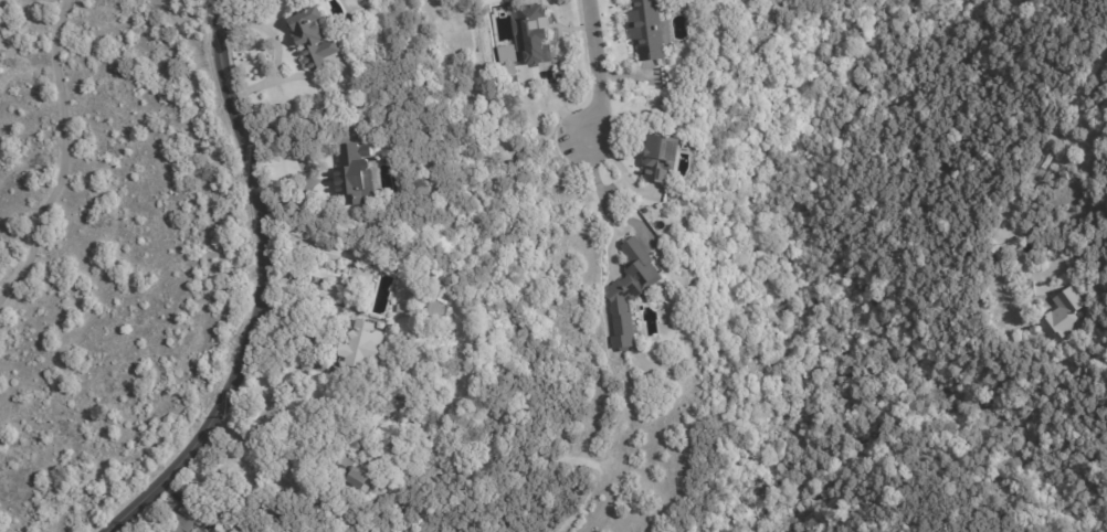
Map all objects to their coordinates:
building: (679, 7)
building: (644, 29)
building: (536, 35)
building: (310, 36)
road: (274, 51)
road: (593, 71)
building: (660, 155)
building: (356, 174)
road: (599, 193)
building: (1050, 252)
road: (256, 288)
building: (630, 289)
building: (425, 294)
building: (404, 309)
building: (439, 310)
building: (1059, 317)
building: (362, 350)
road: (281, 478)
building: (367, 478)
building: (186, 518)

